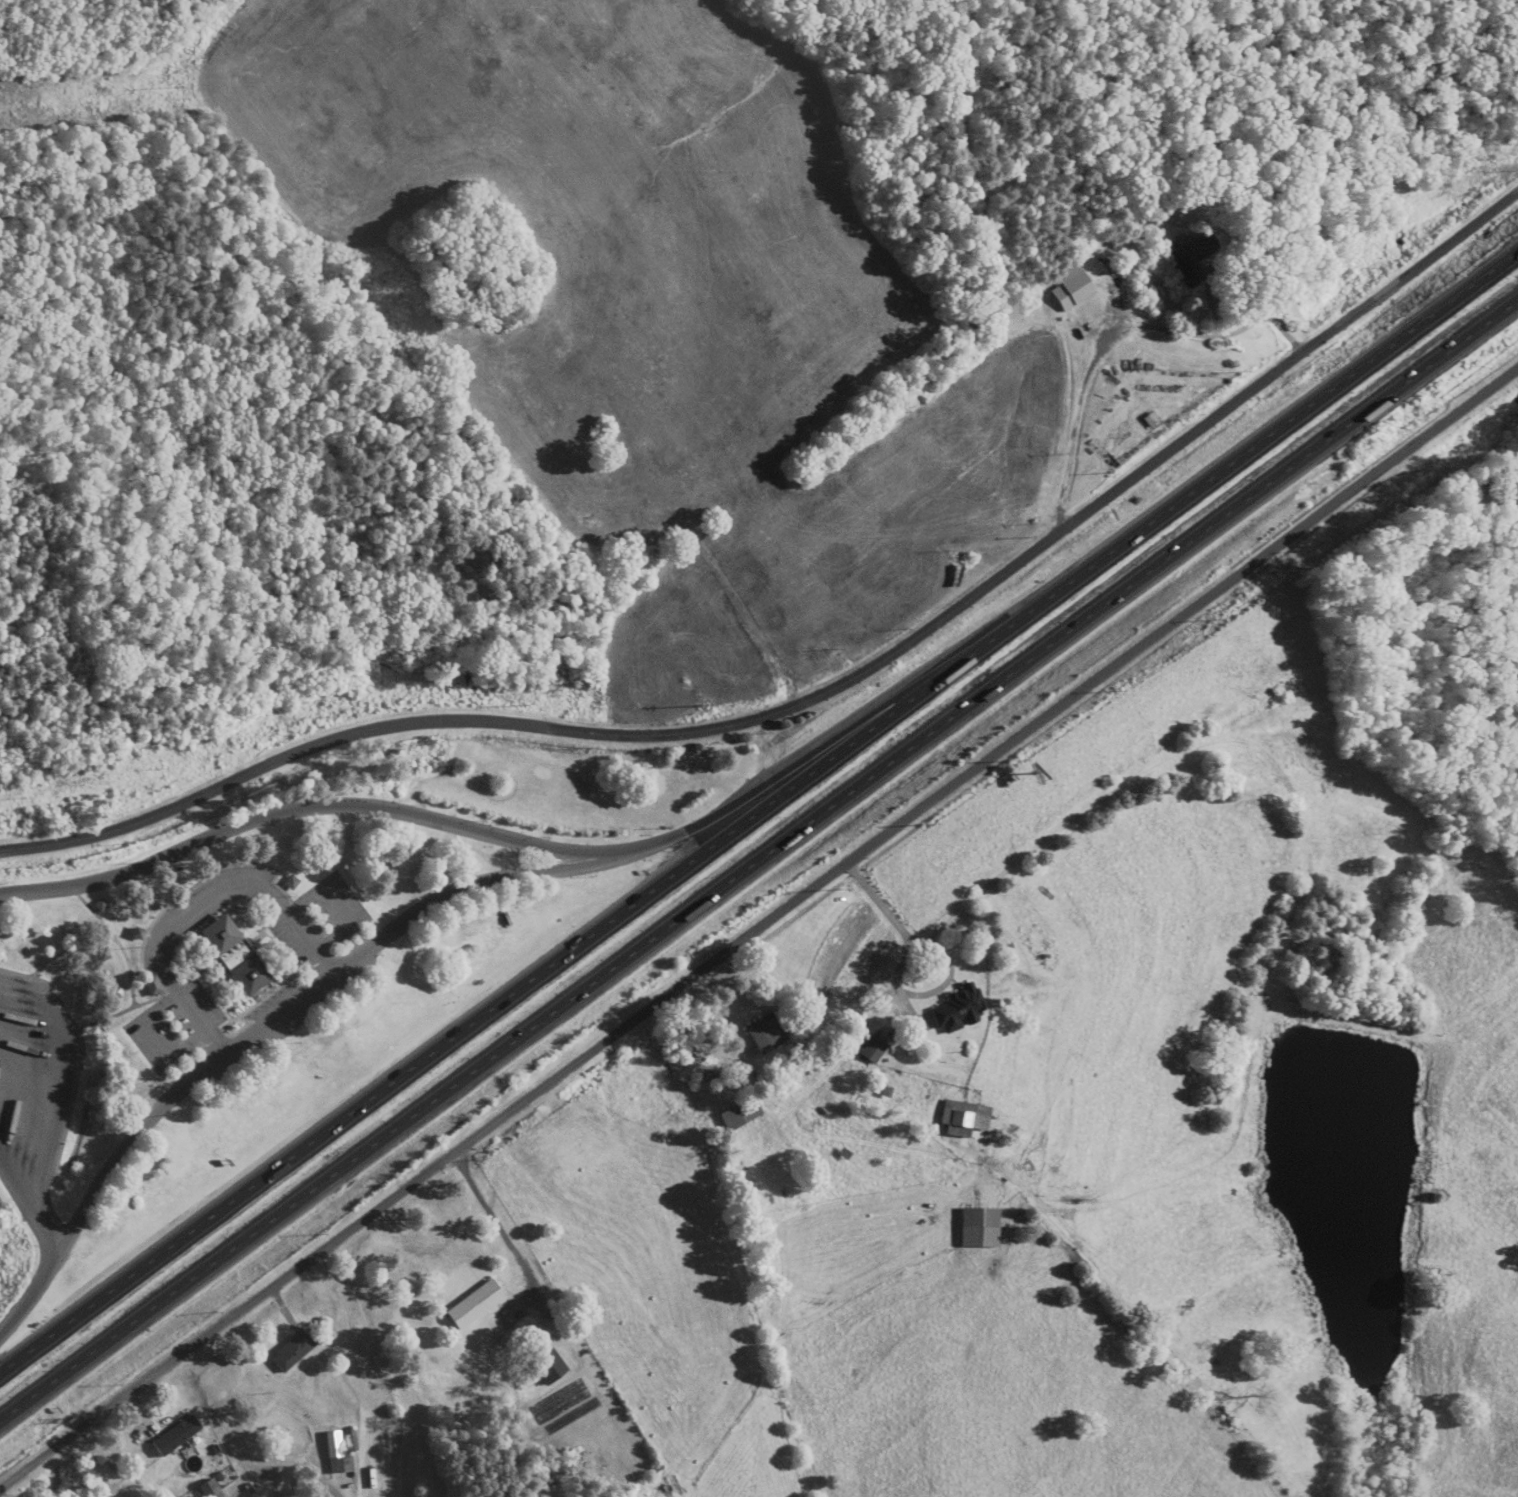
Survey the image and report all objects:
building: (1191, 259)
road: (1218, 271)
building: (1070, 287)
road: (1086, 379)
road: (824, 695)
road: (814, 752)
road: (759, 808)
road: (298, 809)
road: (758, 853)
road: (200, 906)
building: (105, 907)
parking lot: (317, 920)
road: (758, 928)
building: (140, 933)
building: (238, 955)
road: (897, 979)
building: (155, 986)
road: (292, 1007)
building: (957, 1009)
parking lot: (178, 1026)
building: (765, 1034)
building: (872, 1050)
parking lot: (34, 1087)
building: (738, 1115)
building: (963, 1118)
road: (25, 1208)
road: (498, 1226)
building: (978, 1228)
road: (31, 1297)
building: (477, 1305)
building: (296, 1351)
building: (550, 1364)
building: (179, 1436)
building: (343, 1453)

